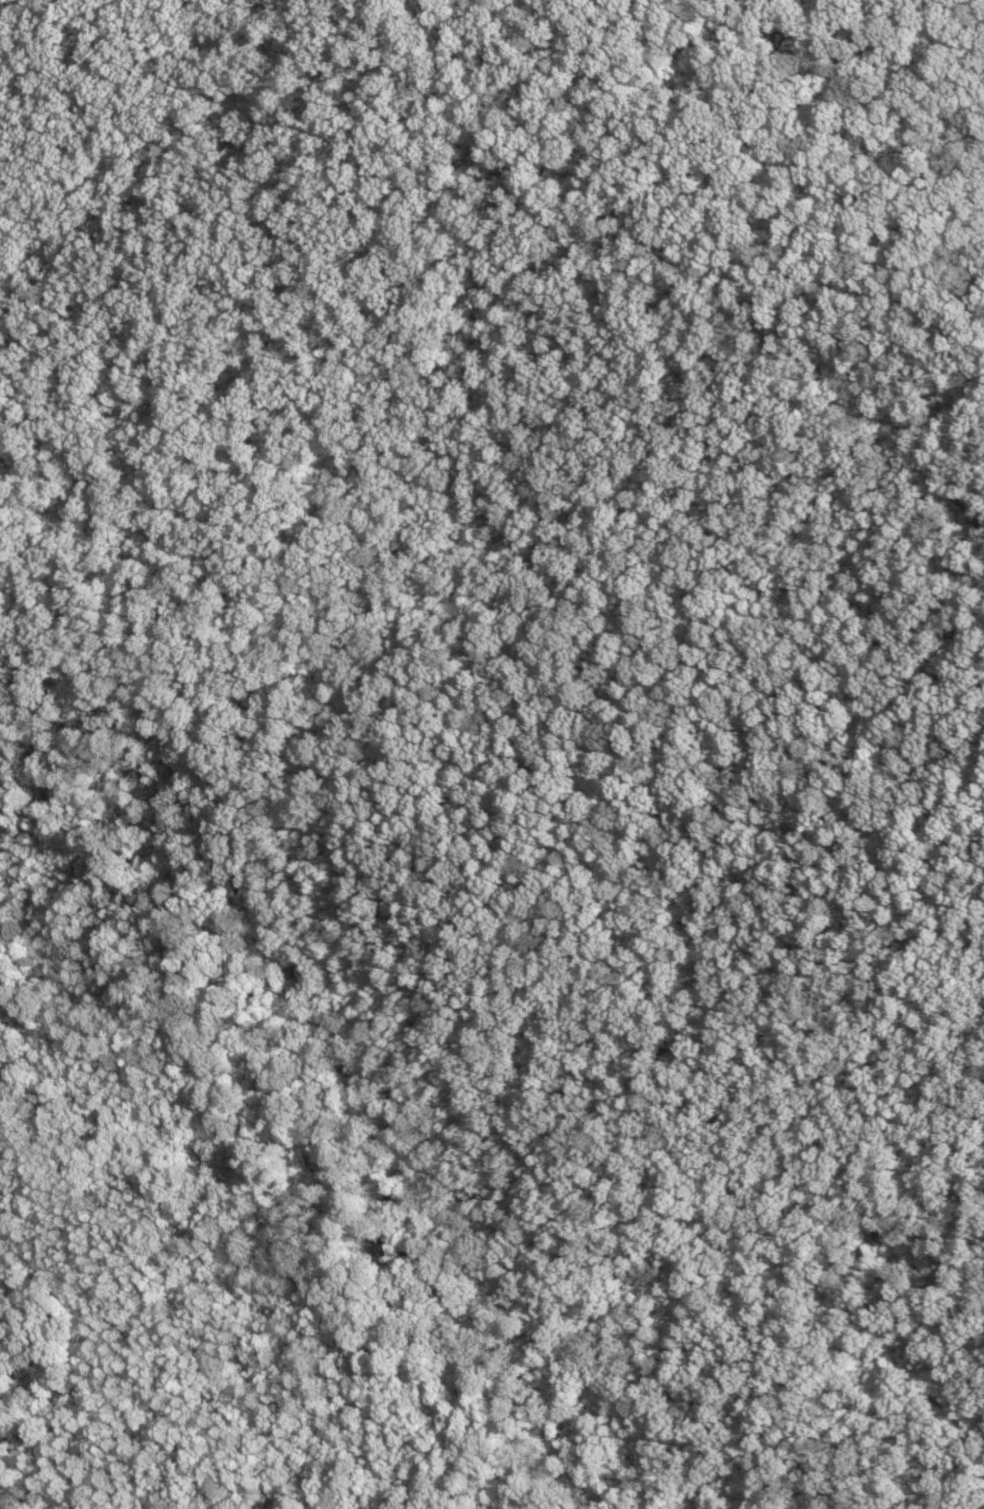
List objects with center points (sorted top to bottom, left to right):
road: (717, 255)

